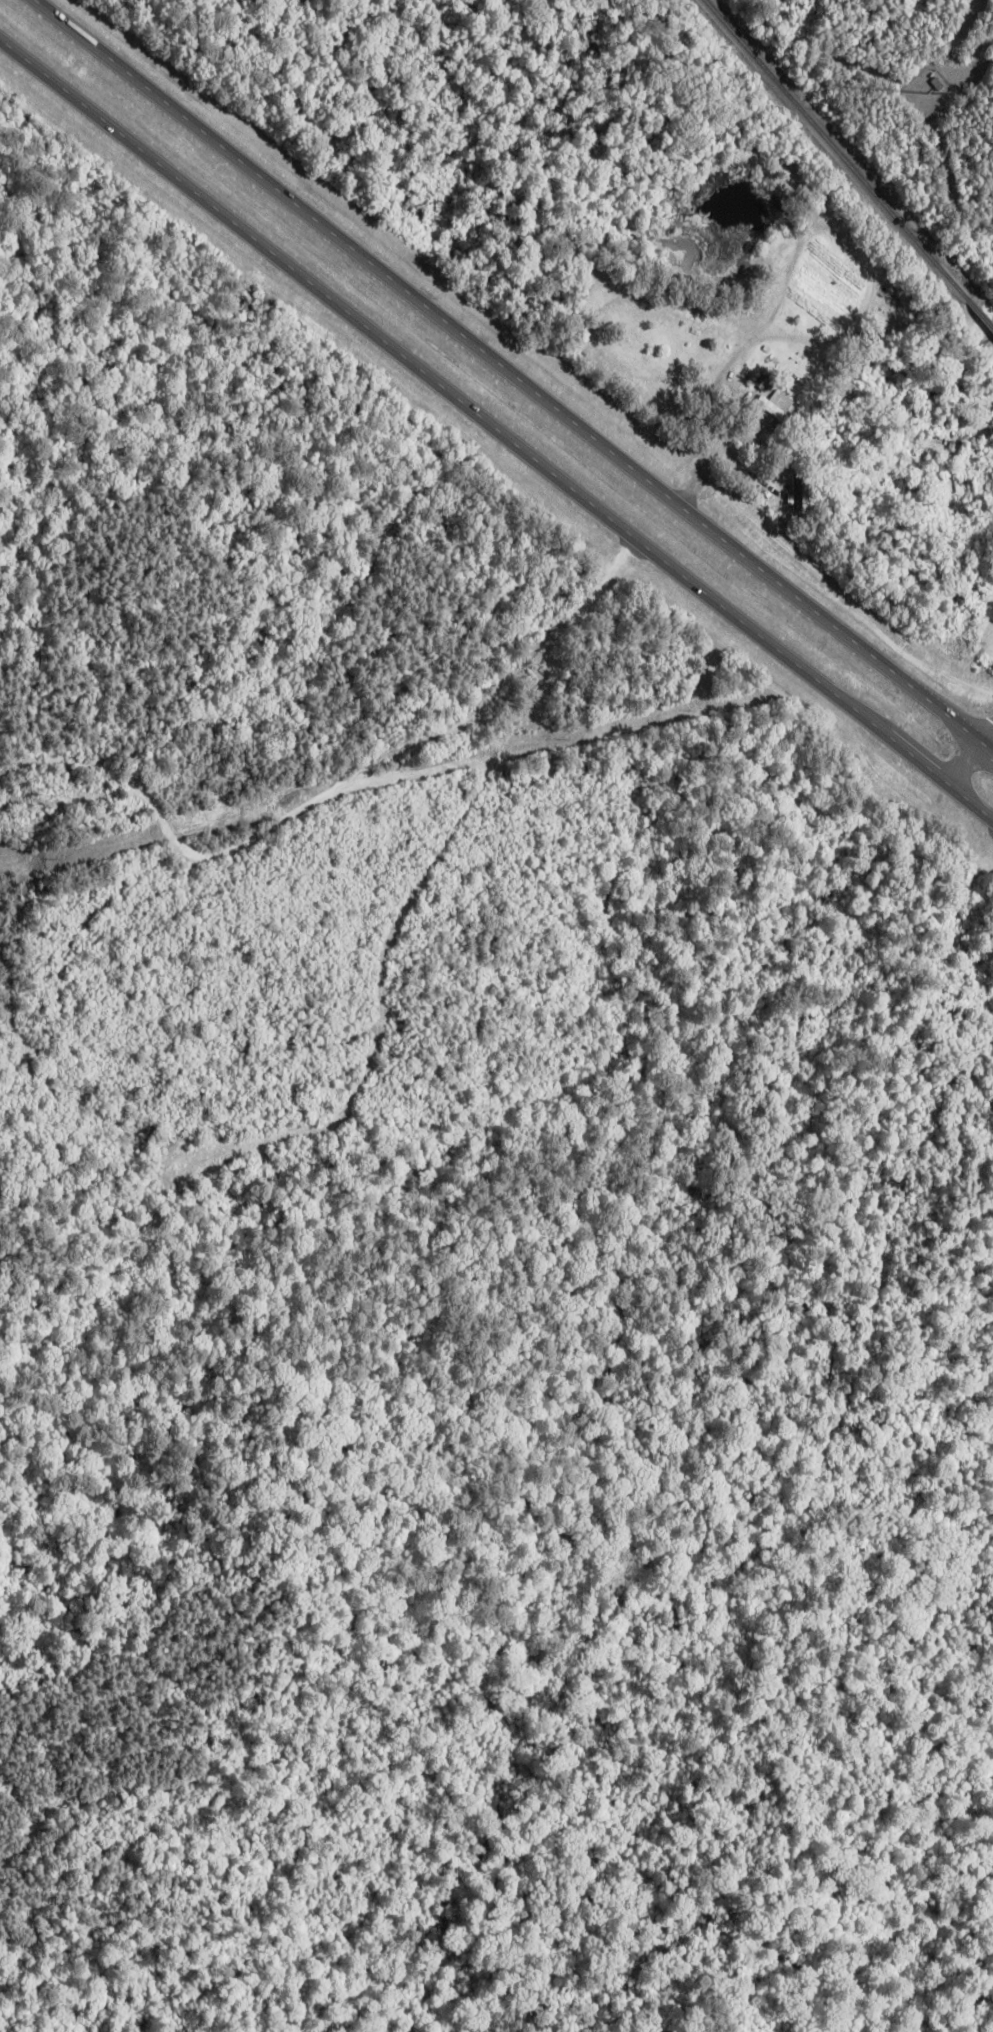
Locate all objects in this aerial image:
railway: (850, 163)
road: (513, 378)
building: (778, 404)
road: (496, 431)
building: (990, 613)
road: (984, 731)
road: (961, 764)

